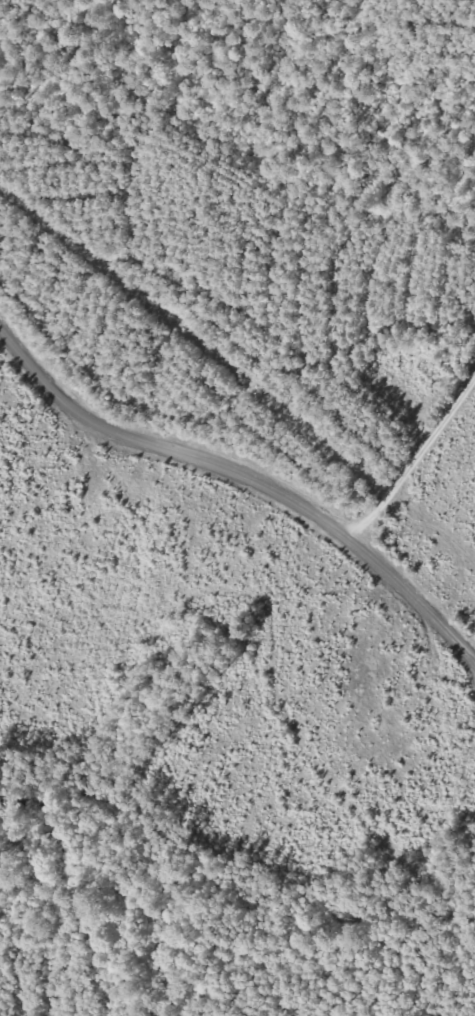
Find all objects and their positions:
road: (262, 486)

